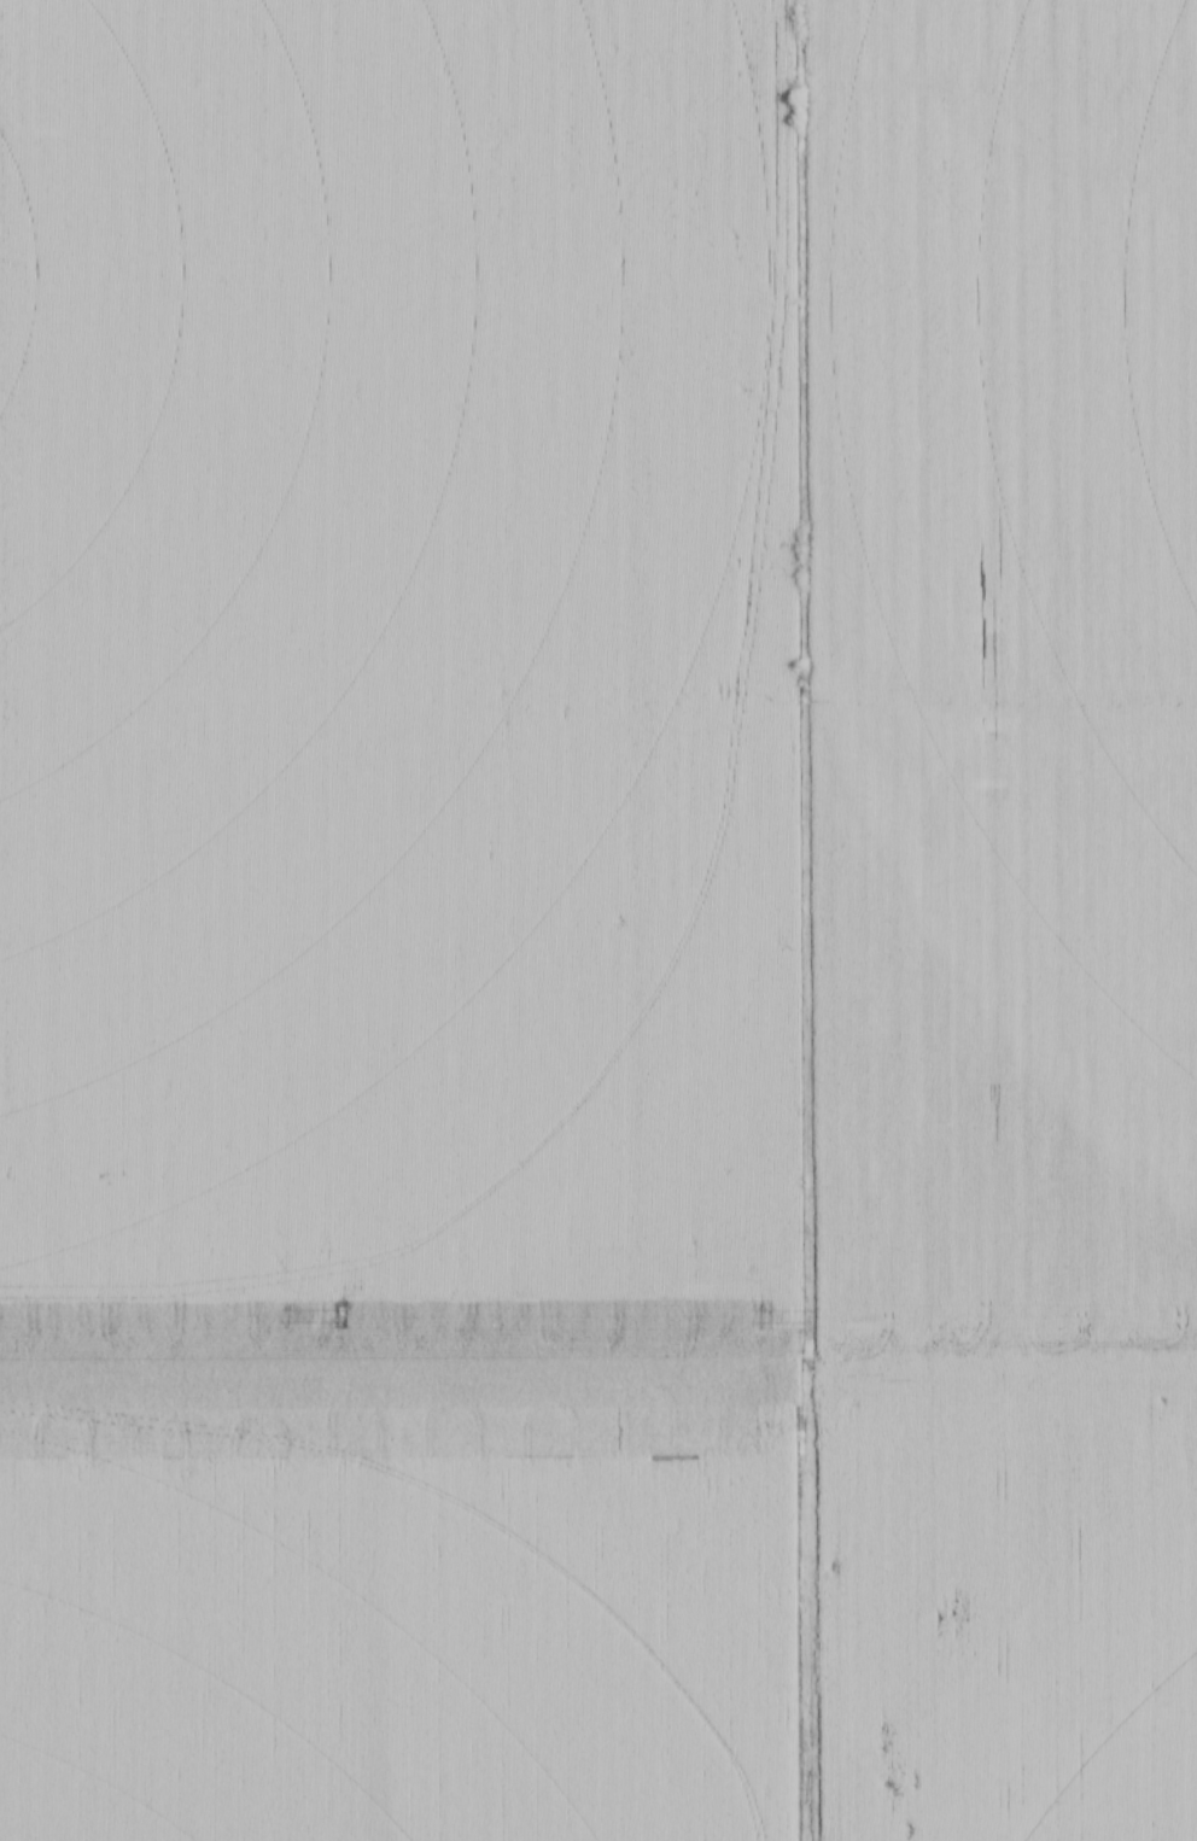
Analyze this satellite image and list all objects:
power tower: (344, 1317)
power tower: (812, 1319)

